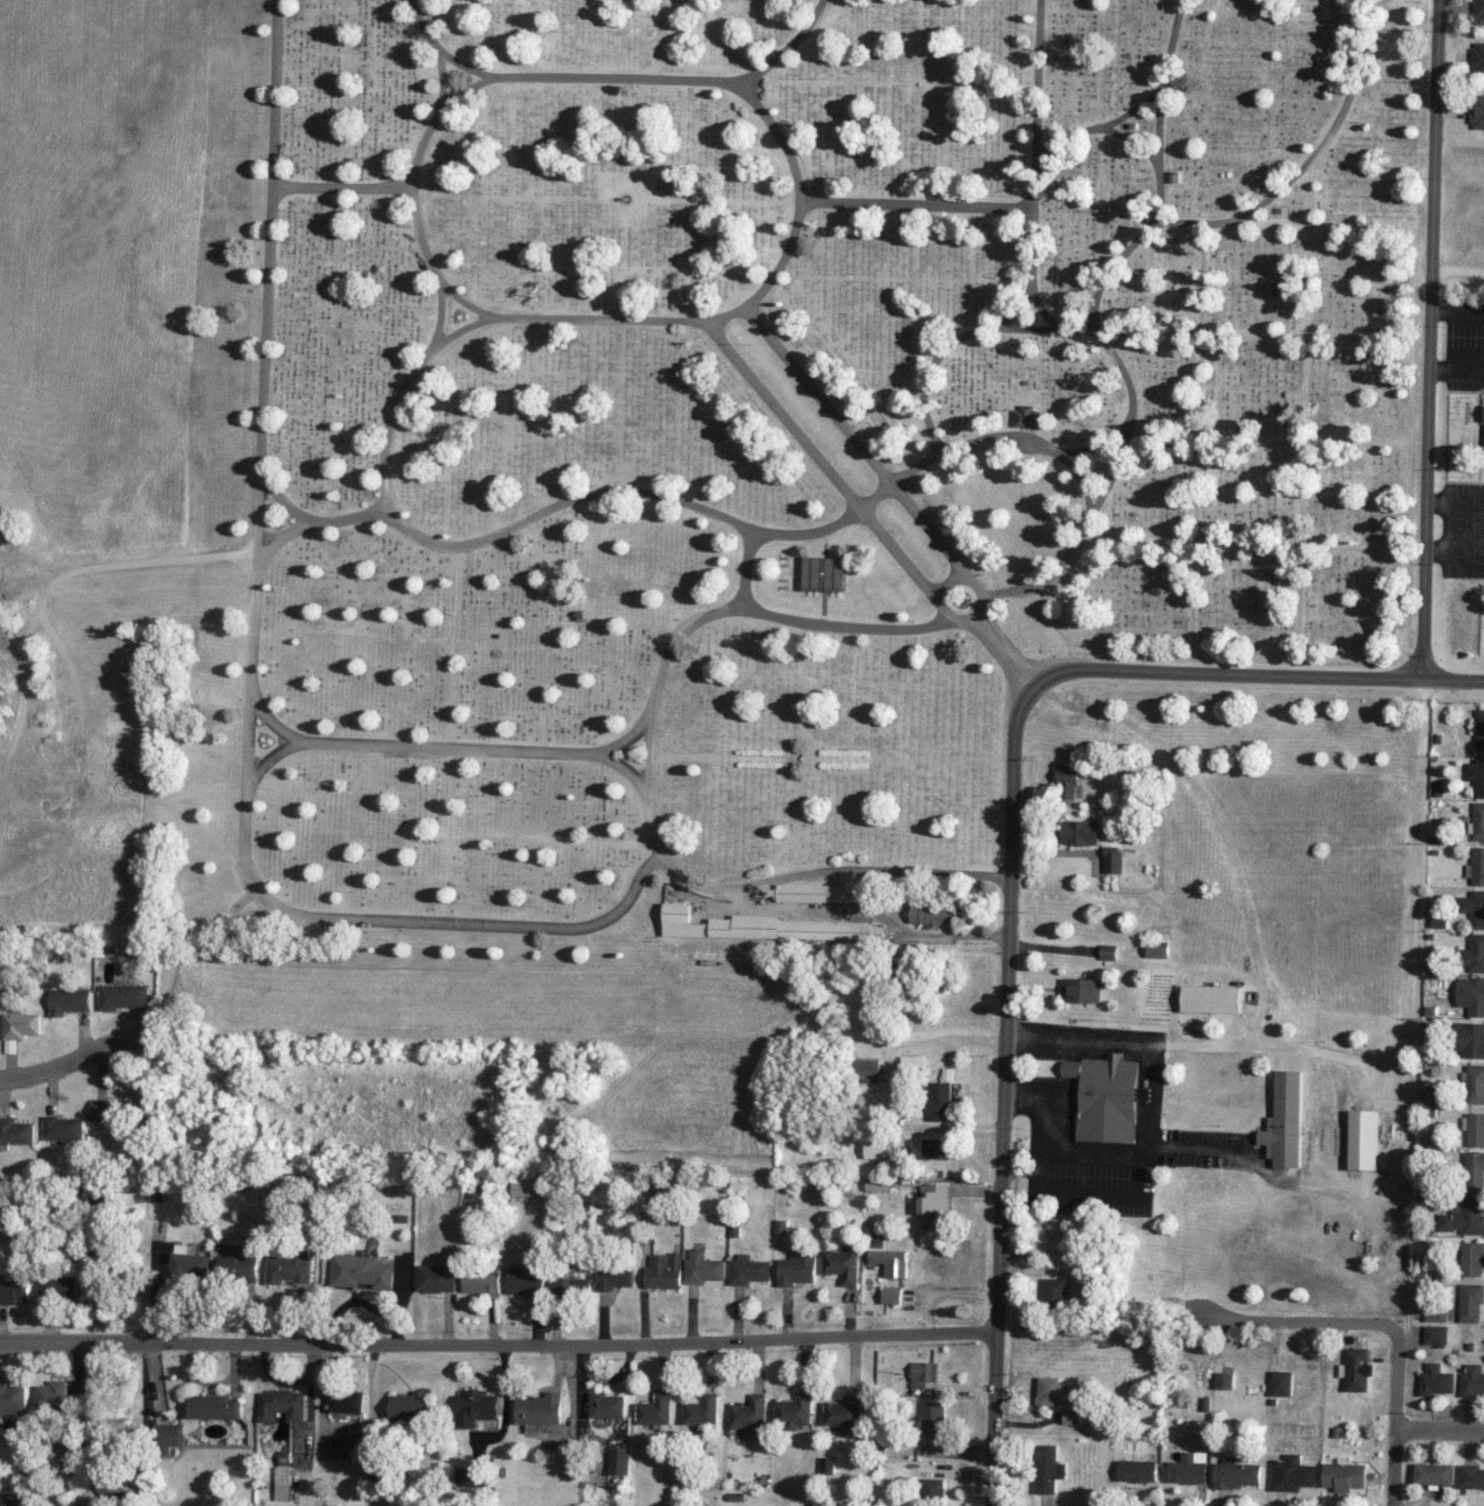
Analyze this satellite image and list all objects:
building: (1479, 11)
road: (443, 50)
building: (1478, 59)
road: (442, 78)
road: (466, 90)
road: (1161, 109)
building: (1477, 111)
road: (1098, 125)
road: (1134, 141)
road: (784, 143)
road: (341, 186)
road: (1272, 195)
road: (916, 205)
road: (1117, 264)
road: (267, 276)
road: (726, 314)
road: (438, 315)
road: (1307, 319)
road: (1027, 329)
road: (1430, 338)
road: (945, 350)
road: (1412, 361)
road: (1200, 382)
building: (1025, 416)
park: (752, 440)
road: (1279, 440)
road: (1097, 442)
road: (901, 477)
road: (285, 502)
road: (562, 503)
road: (133, 563)
building: (824, 573)
road: (947, 581)
road: (703, 618)
road: (971, 618)
road: (1004, 651)
road: (1256, 672)
road: (271, 719)
building: (1479, 728)
road: (628, 735)
road: (445, 747)
building: (1476, 775)
building: (1068, 780)
road: (246, 782)
building: (1478, 821)
building: (1081, 832)
building: (1114, 859)
building: (1476, 866)
road: (877, 869)
building: (819, 893)
building: (1473, 907)
building: (933, 915)
building: (1439, 922)
building: (765, 926)
building: (1159, 928)
road: (987, 934)
building: (1157, 948)
building: (1109, 951)
building: (1474, 953)
building: (1431, 961)
building: (1083, 990)
building: (1471, 994)
building: (123, 996)
building: (1211, 998)
building: (69, 1001)
building: (20, 1025)
building: (1470, 1039)
road: (1389, 1056)
road: (75, 1057)
building: (913, 1061)
building: (868, 1066)
building: (1474, 1083)
building: (1435, 1093)
road: (1005, 1094)
building: (941, 1097)
building: (1107, 1097)
building: (116, 1109)
building: (1285, 1121)
building: (63, 1128)
building: (1476, 1129)
building: (16, 1131)
building: (1363, 1139)
building: (875, 1148)
building: (940, 1149)
building: (1474, 1171)
building: (877, 1183)
building: (524, 1187)
building: (492, 1189)
building: (936, 1202)
building: (1465, 1215)
building: (780, 1226)
building: (1472, 1258)
building: (892, 1261)
building: (241, 1262)
building: (842, 1265)
building: (192, 1266)
building: (702, 1267)
building: (290, 1269)
building: (797, 1269)
building: (748, 1270)
building: (362, 1271)
building: (664, 1271)
building: (612, 1276)
building: (435, 1278)
building: (480, 1279)
building: (525, 1282)
building: (570, 1287)
building: (62, 1289)
building: (15, 1290)
building: (1057, 1291)
building: (892, 1294)
building: (1471, 1301)
building: (1435, 1314)
road: (1290, 1320)
building: (1435, 1335)
road: (498, 1343)
building: (1357, 1369)
building: (1225, 1380)
building: (1435, 1380)
building: (1471, 1380)
building: (1281, 1382)
building: (1053, 1390)
building: (54, 1394)
building: (13, 1398)
building: (344, 1402)
road: (504, 1402)
building: (409, 1405)
building: (607, 1405)
building: (214, 1406)
building: (475, 1408)
building: (540, 1409)
building: (656, 1410)
building: (703, 1410)
building: (845, 1411)
building: (795, 1412)
building: (750, 1413)
road: (1395, 1415)
building: (1073, 1416)
building: (934, 1417)
road: (1439, 1428)
building: (169, 1434)
building: (288, 1434)
building: (346, 1442)
building: (619, 1460)
building: (1048, 1468)
building: (1189, 1468)
building: (1138, 1470)
building: (1236, 1473)
building: (1292, 1473)
building: (1434, 1473)
building: (469, 1476)
building: (1344, 1476)
building: (1471, 1478)
building: (108, 1488)
building: (933, 1489)
building: (15, 1499)

